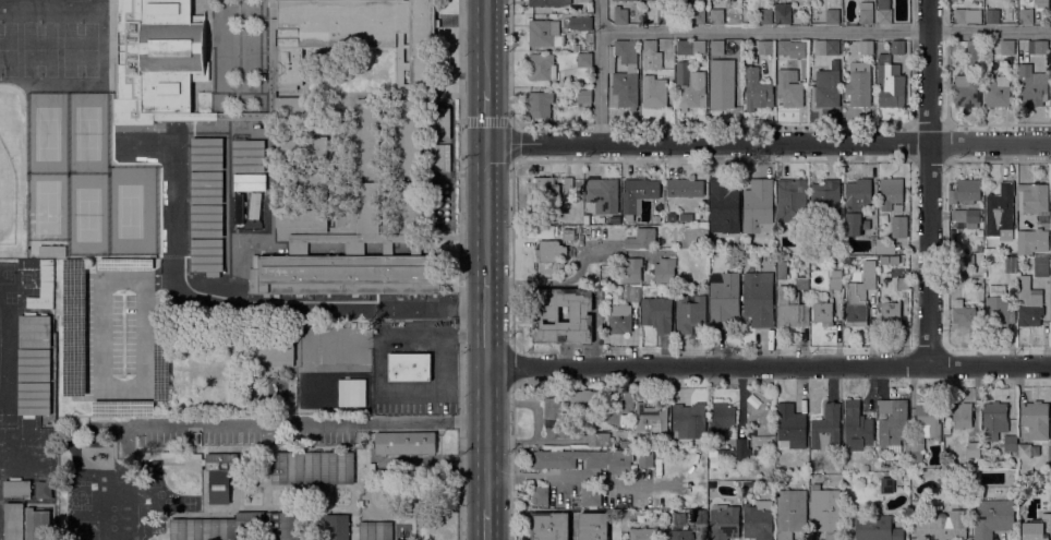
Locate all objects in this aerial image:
building: (548, 2)
building: (1041, 3)
building: (884, 11)
building: (866, 12)
building: (620, 15)
building: (783, 15)
building: (967, 15)
building: (992, 15)
building: (1026, 15)
building: (664, 16)
building: (698, 16)
building: (716, 16)
building: (765, 16)
building: (832, 16)
building: (580, 23)
road: (824, 28)
building: (543, 34)
building: (351, 36)
building: (577, 43)
building: (805, 43)
building: (810, 43)
road: (486, 45)
building: (1037, 46)
building: (650, 47)
building: (690, 47)
building: (716, 47)
building: (764, 47)
building: (783, 47)
building: (827, 47)
building: (866, 47)
building: (1007, 47)
building: (811, 50)
building: (974, 52)
building: (584, 59)
building: (157, 60)
road: (510, 61)
building: (542, 67)
road: (599, 71)
building: (623, 74)
building: (891, 77)
building: (859, 84)
building: (722, 86)
building: (1032, 86)
building: (689, 87)
building: (789, 87)
building: (826, 87)
building: (757, 89)
building: (967, 91)
building: (653, 92)
building: (998, 92)
building: (583, 98)
building: (540, 104)
building: (293, 110)
building: (241, 112)
road: (486, 116)
road: (485, 121)
building: (442, 123)
road: (510, 140)
traffic signals: (486, 142)
road: (769, 142)
building: (301, 147)
building: (206, 153)
building: (249, 156)
building: (442, 157)
building: (367, 165)
building: (410, 165)
building: (250, 181)
building: (568, 182)
road: (928, 182)
building: (301, 183)
building: (685, 187)
building: (206, 188)
building: (545, 188)
building: (968, 190)
building: (891, 192)
building: (603, 194)
building: (637, 195)
building: (1034, 196)
building: (792, 202)
building: (825, 202)
building: (856, 204)
building: (724, 205)
building: (758, 206)
road: (486, 208)
building: (1000, 211)
building: (686, 216)
building: (967, 217)
building: (250, 218)
building: (587, 218)
building: (206, 220)
building: (301, 220)
building: (898, 227)
building: (542, 230)
building: (952, 235)
building: (569, 236)
building: (1050, 237)
building: (641, 239)
building: (1031, 241)
building: (979, 248)
building: (48, 250)
building: (549, 251)
building: (988, 251)
road: (511, 253)
building: (207, 254)
building: (845, 259)
building: (963, 262)
building: (125, 264)
building: (1011, 264)
building: (1041, 265)
building: (347, 267)
building: (781, 268)
road: (459, 269)
building: (631, 269)
building: (664, 271)
building: (1050, 277)
building: (835, 279)
building: (817, 281)
building: (801, 283)
building: (902, 283)
building: (632, 292)
building: (724, 298)
building: (858, 298)
building: (758, 299)
road: (255, 303)
building: (998, 307)
building: (790, 308)
building: (1031, 309)
building: (689, 312)
building: (657, 313)
building: (823, 313)
building: (891, 314)
building: (965, 314)
building: (34, 316)
building: (546, 316)
road: (486, 320)
building: (623, 322)
building: (74, 326)
road: (422, 331)
building: (35, 334)
building: (274, 355)
building: (34, 364)
road: (769, 364)
building: (409, 365)
road: (511, 365)
building: (161, 370)
building: (335, 392)
building: (34, 398)
building: (123, 408)
building: (571, 409)
building: (962, 416)
building: (652, 418)
building: (721, 418)
building: (1036, 419)
building: (689, 420)
building: (993, 420)
road: (316, 422)
building: (892, 423)
building: (792, 425)
building: (857, 427)
building: (826, 429)
building: (925, 429)
building: (946, 431)
road: (486, 436)
building: (599, 439)
building: (404, 442)
building: (1010, 443)
building: (1024, 451)
building: (737, 452)
building: (757, 452)
building: (974, 454)
building: (645, 457)
building: (585, 459)
road: (511, 461)
building: (312, 467)
building: (220, 476)
road: (561, 480)
building: (886, 485)
building: (16, 487)
building: (43, 489)
building: (541, 496)
building: (591, 496)
building: (573, 501)
building: (825, 512)
building: (790, 513)
building: (699, 516)
building: (626, 518)
building: (993, 518)
building: (678, 520)
building: (758, 520)
building: (14, 521)
building: (724, 521)
building: (37, 524)
road: (486, 525)
building: (940, 525)
building: (215, 526)
building: (282, 526)
building: (549, 526)
building: (593, 526)
building: (875, 526)
building: (336, 527)
building: (1038, 529)
building: (375, 530)
building: (643, 533)
building: (678, 533)

